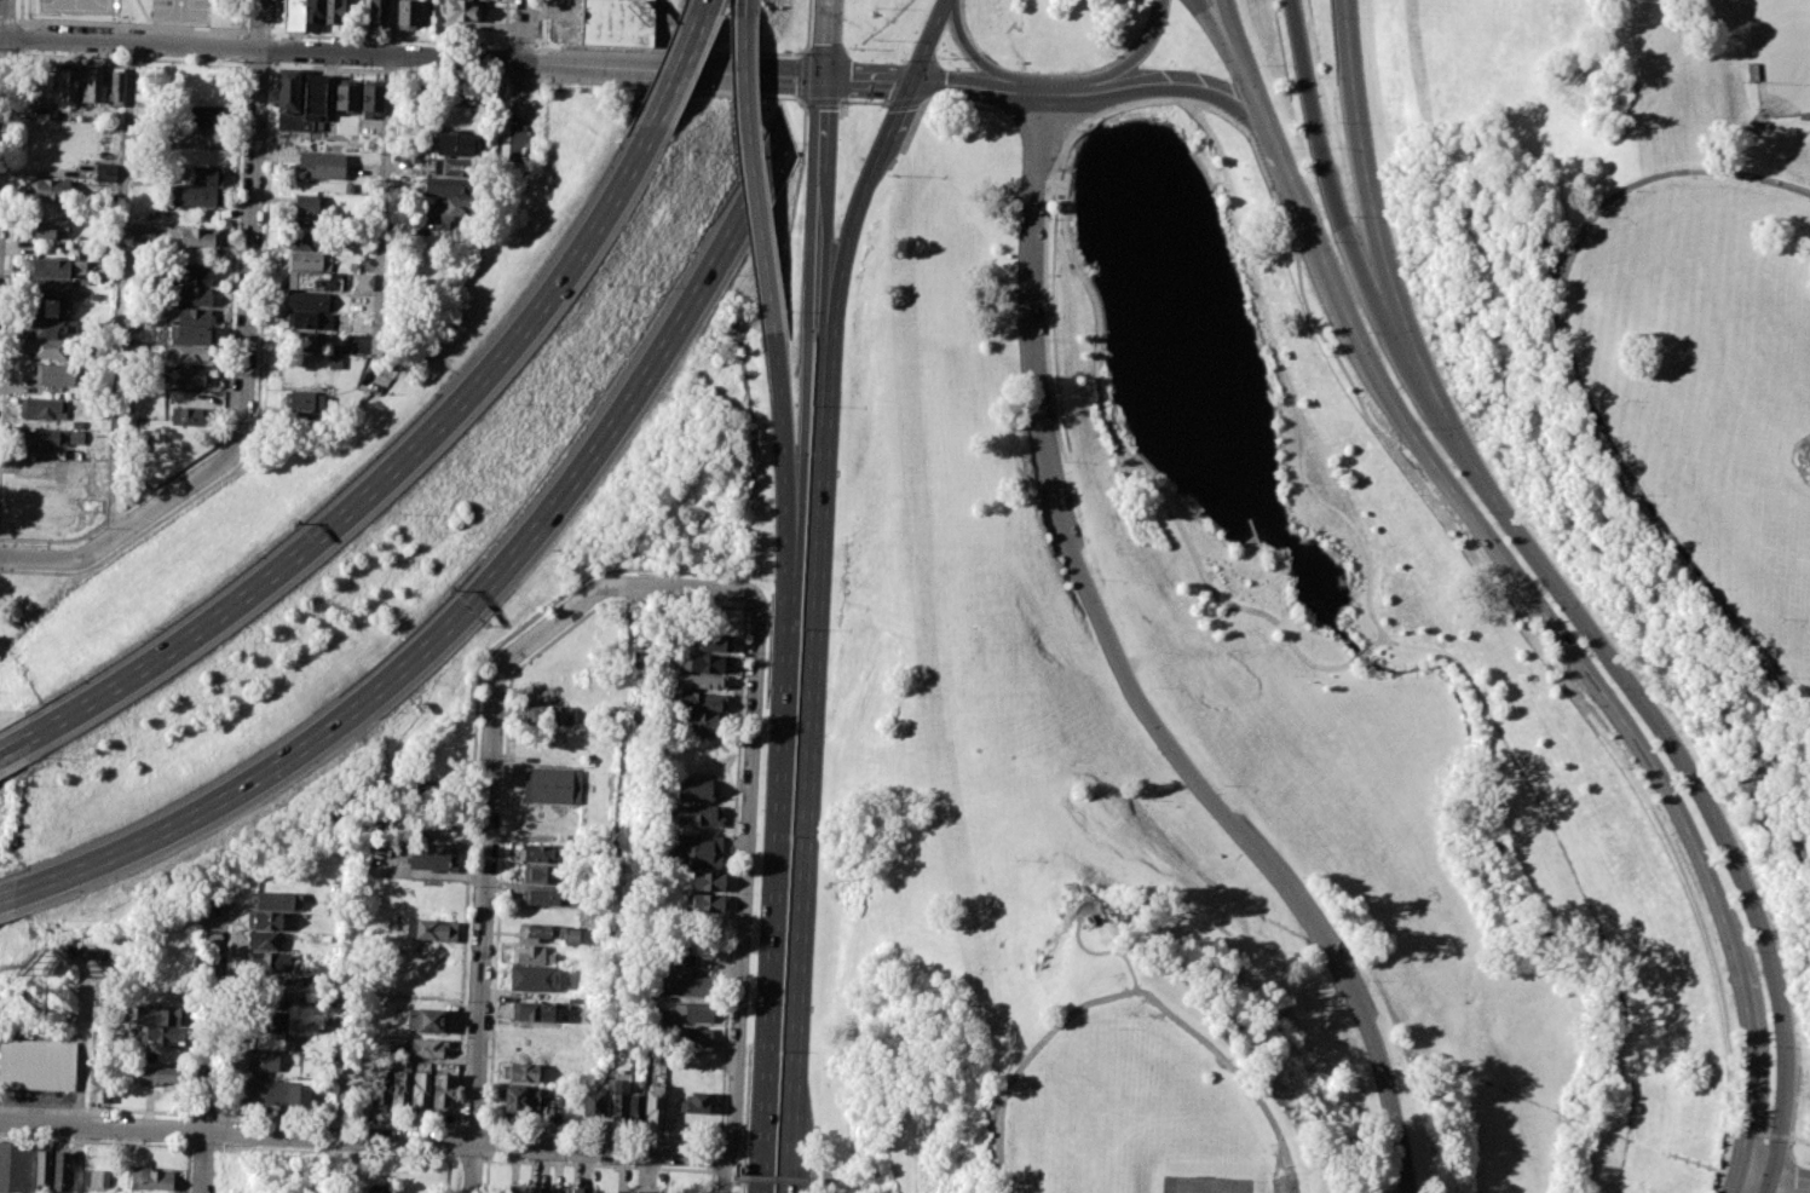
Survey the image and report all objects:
road: (703, 7)
road: (744, 7)
road: (21, 10)
building: (315, 11)
building: (460, 11)
building: (335, 12)
building: (376, 12)
building: (407, 13)
road: (241, 15)
building: (292, 15)
road: (276, 16)
building: (213, 18)
street lamp: (271, 19)
road: (7, 21)
road: (540, 22)
building: (617, 22)
road: (24, 24)
road: (131, 24)
road: (807, 27)
road: (258, 30)
road: (525, 31)
road: (662, 35)
road: (23, 38)
road: (409, 39)
street lamp: (874, 39)
road: (825, 40)
road: (930, 42)
road: (1226, 44)
road: (671, 47)
road: (261, 48)
street lamp: (857, 48)
road: (23, 51)
street lamp: (791, 51)
road: (972, 51)
road: (1, 52)
road: (8, 52)
street lamp: (70, 53)
park: (1781, 54)
road: (131, 57)
street lamp: (160, 57)
street lamp: (940, 57)
road: (1137, 57)
street lamp: (899, 58)
road: (256, 63)
street lamp: (235, 65)
road: (540, 65)
street lamp: (1140, 65)
street lamp: (1261, 65)
street lamp: (955, 67)
road: (388, 69)
road: (673, 71)
road: (675, 71)
street lamp: (1048, 71)
road: (803, 76)
street lamp: (1223, 76)
street lamp: (1319, 76)
traffic signals: (824, 80)
road: (523, 81)
road: (867, 82)
building: (67, 83)
building: (92, 85)
traffic signals: (912, 85)
road: (1178, 86)
building: (114, 87)
road: (978, 87)
road: (1062, 88)
building: (287, 91)
building: (423, 91)
building: (345, 94)
building: (472, 94)
building: (371, 98)
road: (818, 99)
road: (863, 100)
road: (905, 100)
road: (800, 102)
road: (961, 104)
building: (306, 105)
street lamp: (930, 105)
road: (1041, 113)
building: (207, 115)
road: (1096, 115)
street lamp: (1004, 119)
road: (1084, 120)
road: (520, 121)
street lamp: (1339, 123)
road: (912, 126)
street lamp: (1073, 129)
building: (207, 137)
building: (457, 143)
street lamp: (1296, 148)
street lamp: (1332, 148)
road: (822, 151)
street lamp: (241, 159)
building: (322, 165)
road: (1366, 165)
building: (454, 167)
road: (1324, 171)
building: (105, 172)
building: (207, 175)
road: (754, 175)
street lamp: (1691, 177)
street lamp: (1754, 185)
building: (449, 186)
building: (50, 189)
road: (385, 189)
street lamp: (1635, 190)
building: (196, 196)
street lamp: (1808, 200)
building: (305, 211)
building: (449, 211)
road: (792, 217)
road: (855, 217)
street lamp: (1351, 217)
building: (207, 218)
street lamp: (1049, 218)
street lamp: (1590, 226)
building: (47, 227)
building: (197, 237)
building: (306, 241)
building: (356, 243)
street lamp: (1331, 243)
road: (10, 249)
street lamp: (237, 250)
street lamp: (1286, 250)
building: (305, 261)
building: (47, 267)
building: (194, 275)
street lamp: (1567, 279)
building: (307, 281)
building: (361, 281)
building: (47, 288)
road: (123, 288)
road: (822, 290)
building: (194, 296)
building: (307, 301)
building: (47, 307)
building: (194, 316)
building: (311, 321)
road: (248, 322)
building: (51, 328)
street lamp: (1367, 333)
building: (189, 335)
street lamp: (1569, 339)
street lamp: (1049, 340)
building: (46, 348)
building: (188, 356)
street lamp: (1327, 356)
road: (1416, 358)
building: (56, 374)
building: (185, 376)
road: (1578, 376)
road: (226, 378)
street lamp: (1587, 393)
building: (306, 400)
road: (256, 402)
street lamp: (1622, 403)
street lamp: (811, 404)
road: (806, 405)
building: (44, 409)
building: (189, 416)
building: (306, 420)
street lamp: (229, 427)
street lamp: (1422, 428)
building: (42, 438)
building: (77, 438)
road: (1808, 442)
street lamp: (1614, 445)
road: (1794, 459)
road: (784, 461)
street lamp: (1061, 462)
road: (384, 476)
street lamp: (165, 484)
road: (1149, 484)
street lamp: (1645, 495)
street lamp: (1485, 513)
street lamp: (1679, 541)
street lamp: (12, 544)
road: (38, 560)
street lamp: (644, 574)
street lamp: (1096, 580)
street lamp: (1716, 588)
road: (1520, 590)
road: (745, 592)
road: (475, 595)
street lamp: (1550, 600)
street lamp: (551, 611)
road: (1515, 616)
street lamp: (1779, 621)
street lamp: (800, 630)
park: (1331, 630)
street lamp: (1751, 634)
building: (713, 641)
road: (1412, 645)
street lamp: (745, 655)
street lamp: (465, 662)
building: (701, 663)
road: (1131, 673)
street lamp: (1791, 678)
street lamp: (482, 680)
building: (699, 681)
street lamp: (1151, 686)
street lamp: (1613, 687)
building: (696, 702)
building: (551, 715)
building: (696, 722)
road: (15, 743)
road: (474, 749)
street lamp: (477, 761)
road: (1681, 765)
road: (505, 771)
road: (807, 774)
street lamp: (1672, 778)
building: (552, 785)
street lamp: (1222, 785)
road: (489, 788)
building: (693, 789)
building: (697, 814)
street lamp: (790, 834)
building: (692, 851)
building: (546, 853)
building: (433, 855)
street lamp: (1716, 863)
road: (732, 872)
building: (546, 874)
street lamp: (1303, 876)
building: (709, 881)
street lamp: (472, 888)
road: (778, 891)
building: (541, 895)
road: (742, 897)
building: (276, 899)
road: (6, 904)
building: (708, 904)
building: (264, 920)
building: (427, 928)
building: (538, 932)
street lamp: (203, 934)
building: (261, 940)
road: (1105, 952)
street lamp: (1753, 952)
street lamp: (1256, 953)
building: (532, 955)
building: (275, 962)
building: (540, 978)
building: (686, 978)
street lamp: (1366, 980)
building: (269, 995)
street lamp: (466, 1001)
road: (227, 1008)
building: (536, 1012)
building: (692, 1012)
building: (157, 1015)
road: (212, 1018)
street lamp: (201, 1019)
building: (427, 1019)
building: (273, 1020)
street lamp: (1117, 1030)
building: (165, 1036)
building: (692, 1036)
building: (267, 1041)
street lamp: (1770, 1045)
building: (425, 1047)
street lamp: (779, 1049)
road: (79, 1050)
road: (192, 1053)
road: (1221, 1056)
building: (263, 1061)
building: (38, 1064)
building: (521, 1072)
building: (156, 1076)
road: (1010, 1083)
building: (99, 1084)
building: (379, 1089)
building: (399, 1090)
building: (440, 1090)
building: (263, 1091)
building: (420, 1091)
street lamp: (1410, 1097)
building: (298, 1099)
building: (512, 1101)
building: (531, 1102)
building: (617, 1102)
building: (696, 1102)
building: (559, 1105)
road: (97, 1108)
building: (592, 1108)
building: (653, 1108)
building: (635, 1110)
road: (207, 1113)
road: (341, 1120)
street lamp: (460, 1123)
road: (471, 1126)
road: (102, 1128)
road: (601, 1131)
road: (207, 1134)
street lamp: (722, 1134)
road: (341, 1137)
road: (1769, 1139)
road: (96, 1140)
street lamp: (1765, 1141)
street lamp: (87, 1142)
road: (454, 1142)
road: (202, 1146)
road: (600, 1148)
street lamp: (183, 1151)
street lamp: (264, 1152)
road: (333, 1153)
street lamp: (333, 1154)
road: (715, 1154)
street lamp: (525, 1158)
road: (454, 1159)
road: (471, 1159)
road: (203, 1163)
road: (595, 1165)
building: (15, 1166)
building: (41, 1166)
road: (711, 1170)
building: (60, 1171)
road: (722, 1171)
street lamp: (1268, 1172)
road: (819, 1174)
road: (1775, 1175)
building: (96, 1177)
road: (743, 1177)
building: (149, 1178)
road: (780, 1180)
road: (710, 1181)
park: (1206, 1186)
building: (375, 1188)
building: (547, 1189)
road: (1287, 1189)
building: (634, 1191)
street lamp: (1020, 1191)

